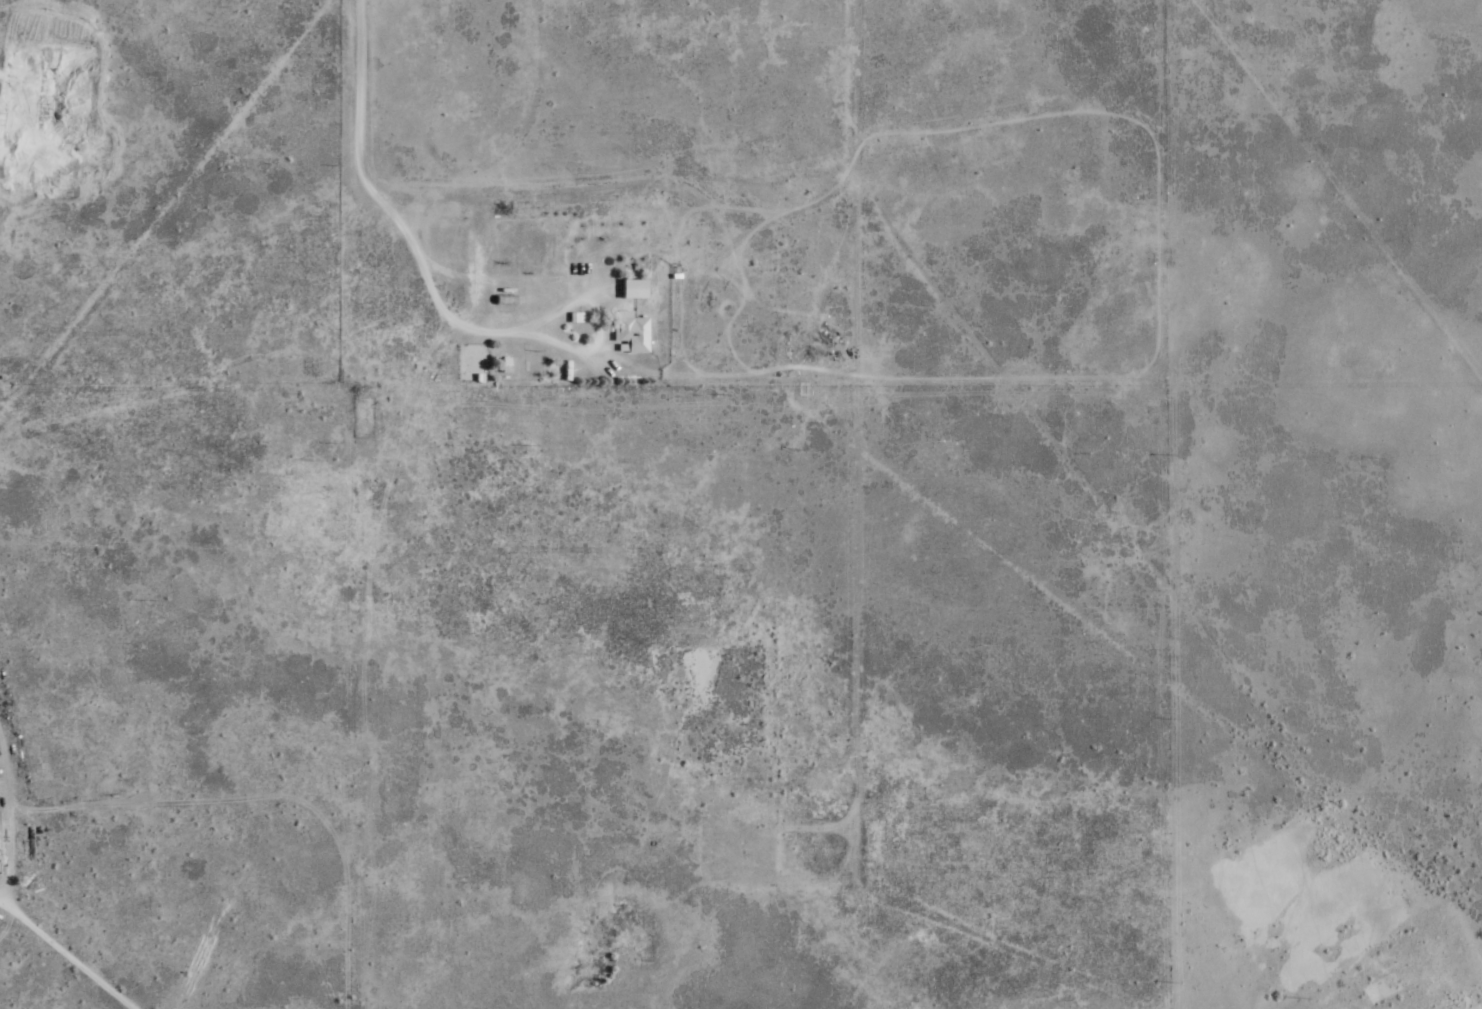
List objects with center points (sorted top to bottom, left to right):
road: (362, 184)
road: (66, 956)

